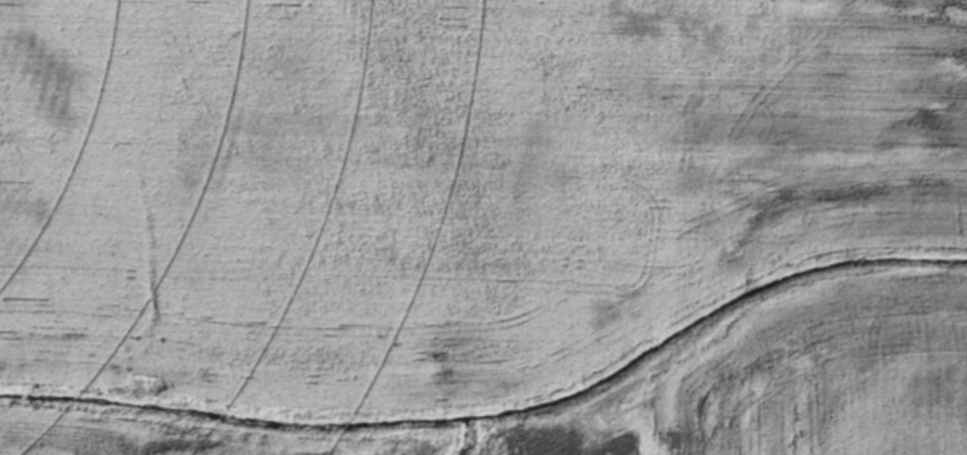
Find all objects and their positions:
building: (598, 24)

